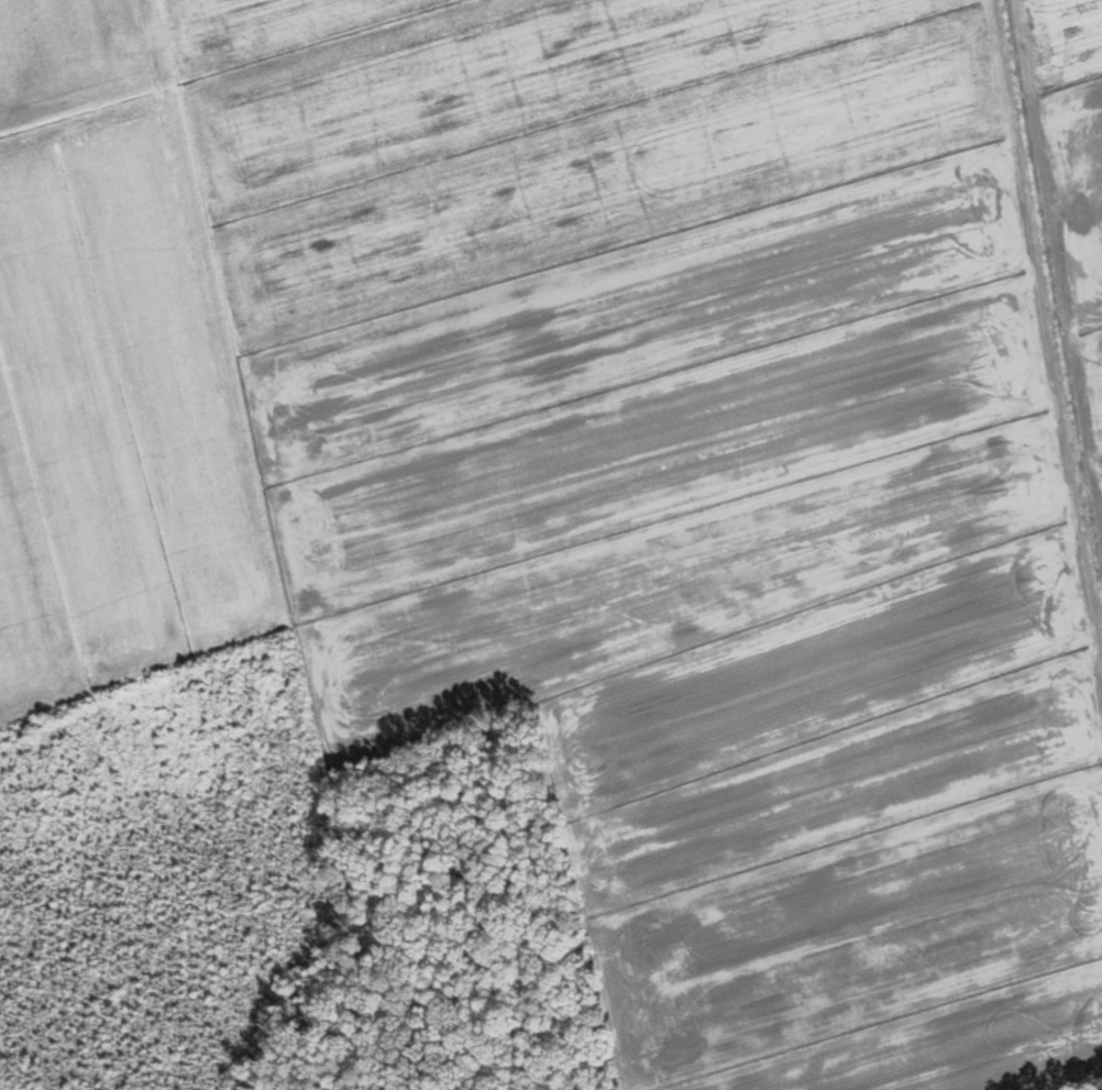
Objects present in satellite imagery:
road: (1069, 220)

